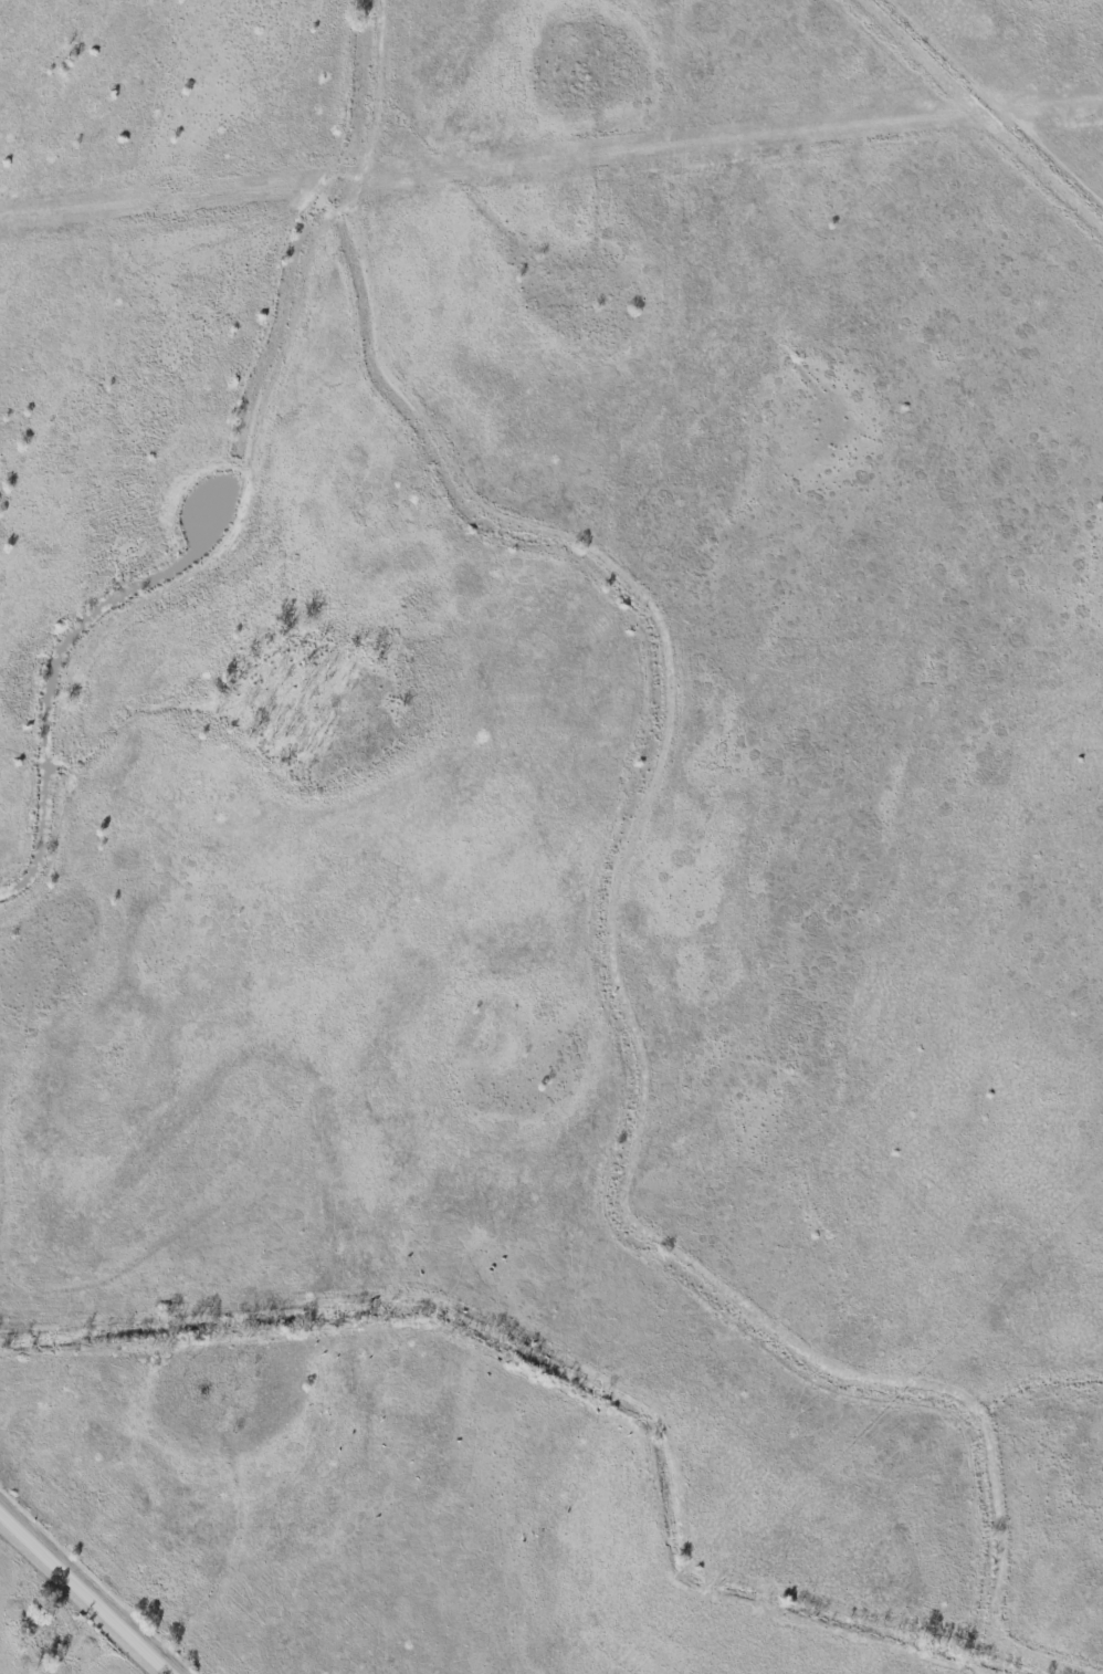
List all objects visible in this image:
road: (87, 1590)

